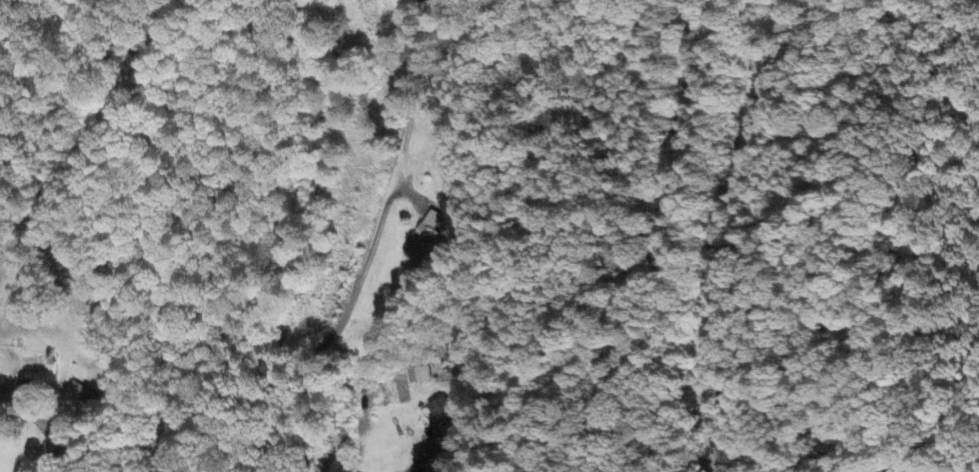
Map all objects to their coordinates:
road: (726, 235)
road: (661, 237)
road: (691, 237)
building: (420, 239)
road: (331, 335)
building: (420, 374)
building: (79, 394)
building: (442, 415)

